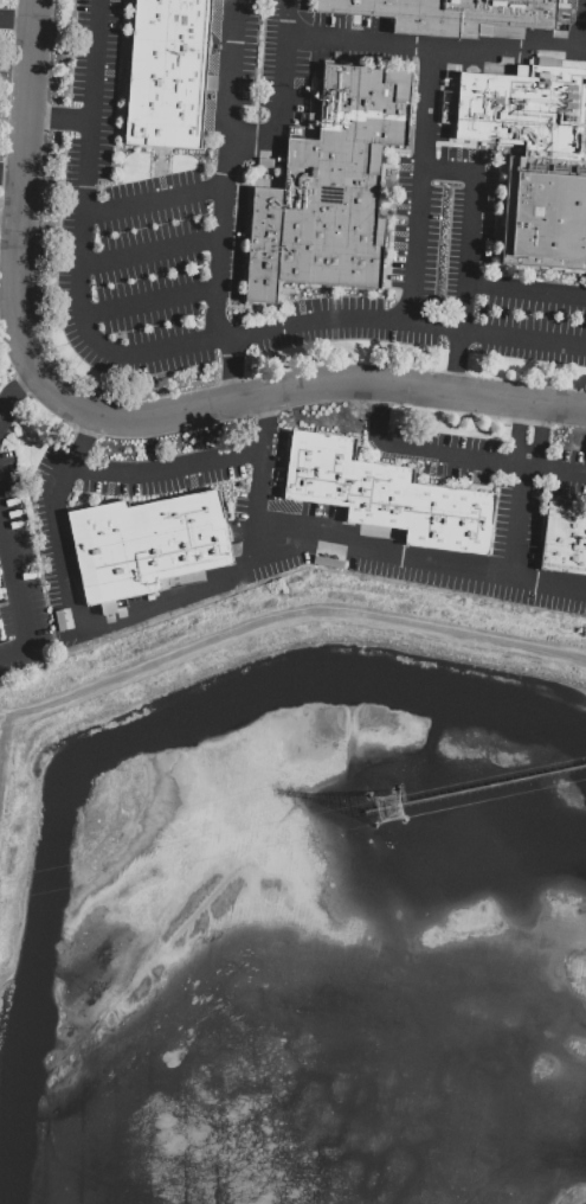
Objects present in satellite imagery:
building: (443, 14)
road: (17, 19)
road: (582, 28)
road: (437, 47)
road: (286, 69)
building: (167, 72)
road: (57, 119)
road: (255, 136)
building: (535, 160)
road: (447, 167)
road: (225, 171)
road: (11, 174)
building: (330, 182)
road: (417, 185)
road: (153, 198)
road: (22, 211)
road: (11, 220)
road: (149, 250)
road: (464, 282)
road: (524, 293)
road: (148, 301)
road: (167, 351)
road: (230, 371)
road: (18, 388)
road: (326, 389)
road: (517, 434)
road: (541, 437)
road: (456, 456)
road: (167, 467)
road: (258, 485)
building: (384, 494)
road: (54, 519)
road: (517, 520)
building: (565, 537)
building: (143, 542)
road: (419, 558)
road: (14, 584)
road: (165, 603)
road: (283, 615)
power tower: (389, 808)

